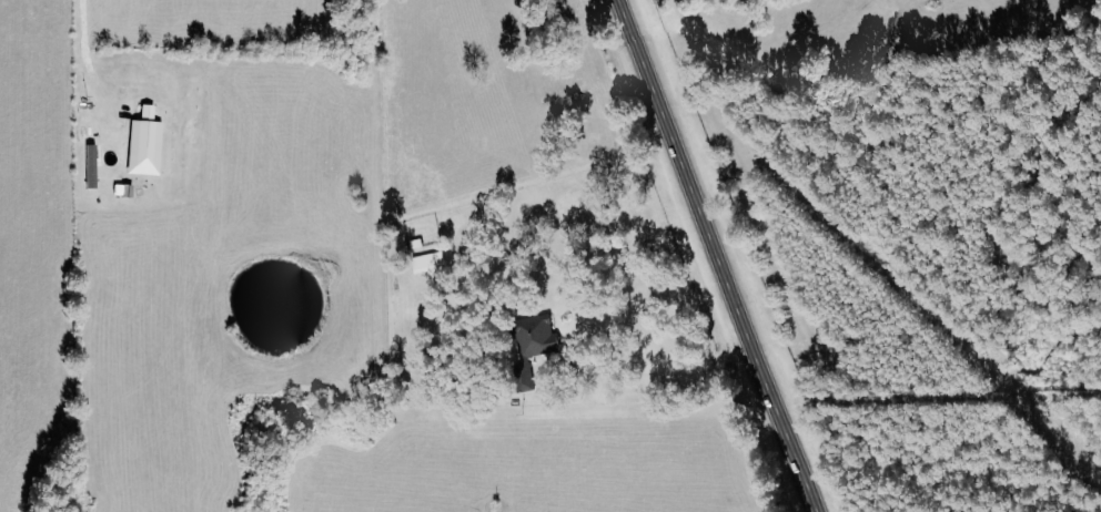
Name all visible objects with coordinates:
road: (84, 25)
building: (145, 149)
building: (91, 166)
road: (714, 256)
building: (431, 264)
building: (533, 346)
road: (659, 368)

